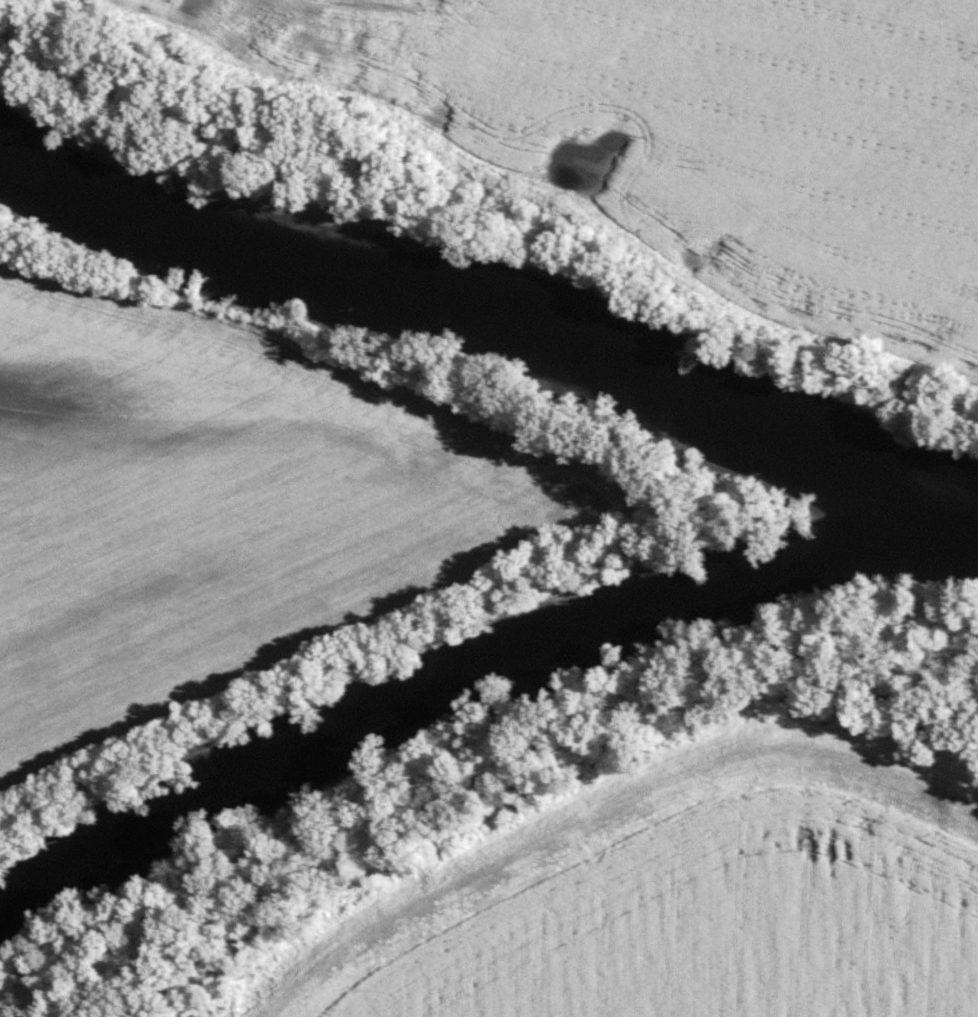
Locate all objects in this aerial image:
river: (443, 287)
river: (920, 489)
river: (430, 680)

